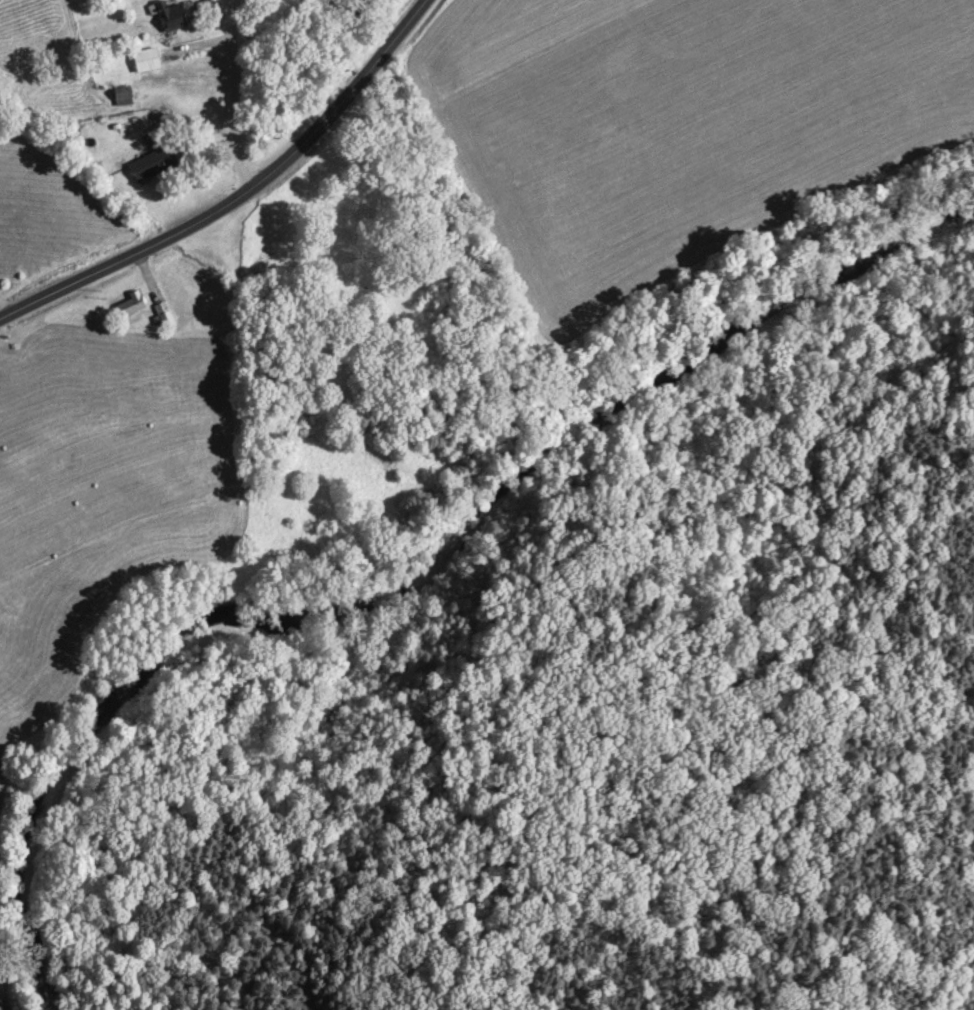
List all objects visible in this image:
building: (167, 16)
building: (145, 62)
road: (242, 97)
building: (122, 99)
building: (150, 166)
road: (243, 198)
road: (9, 305)
building: (130, 306)
building: (163, 316)

